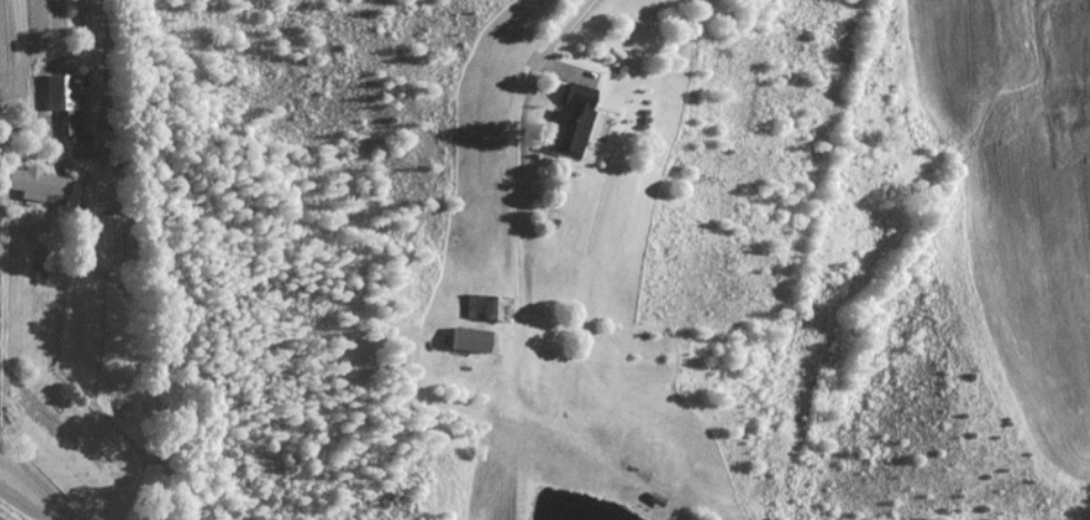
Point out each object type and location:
building: (67, 103)
building: (569, 128)
building: (39, 186)
building: (110, 232)
building: (488, 308)
building: (471, 340)

